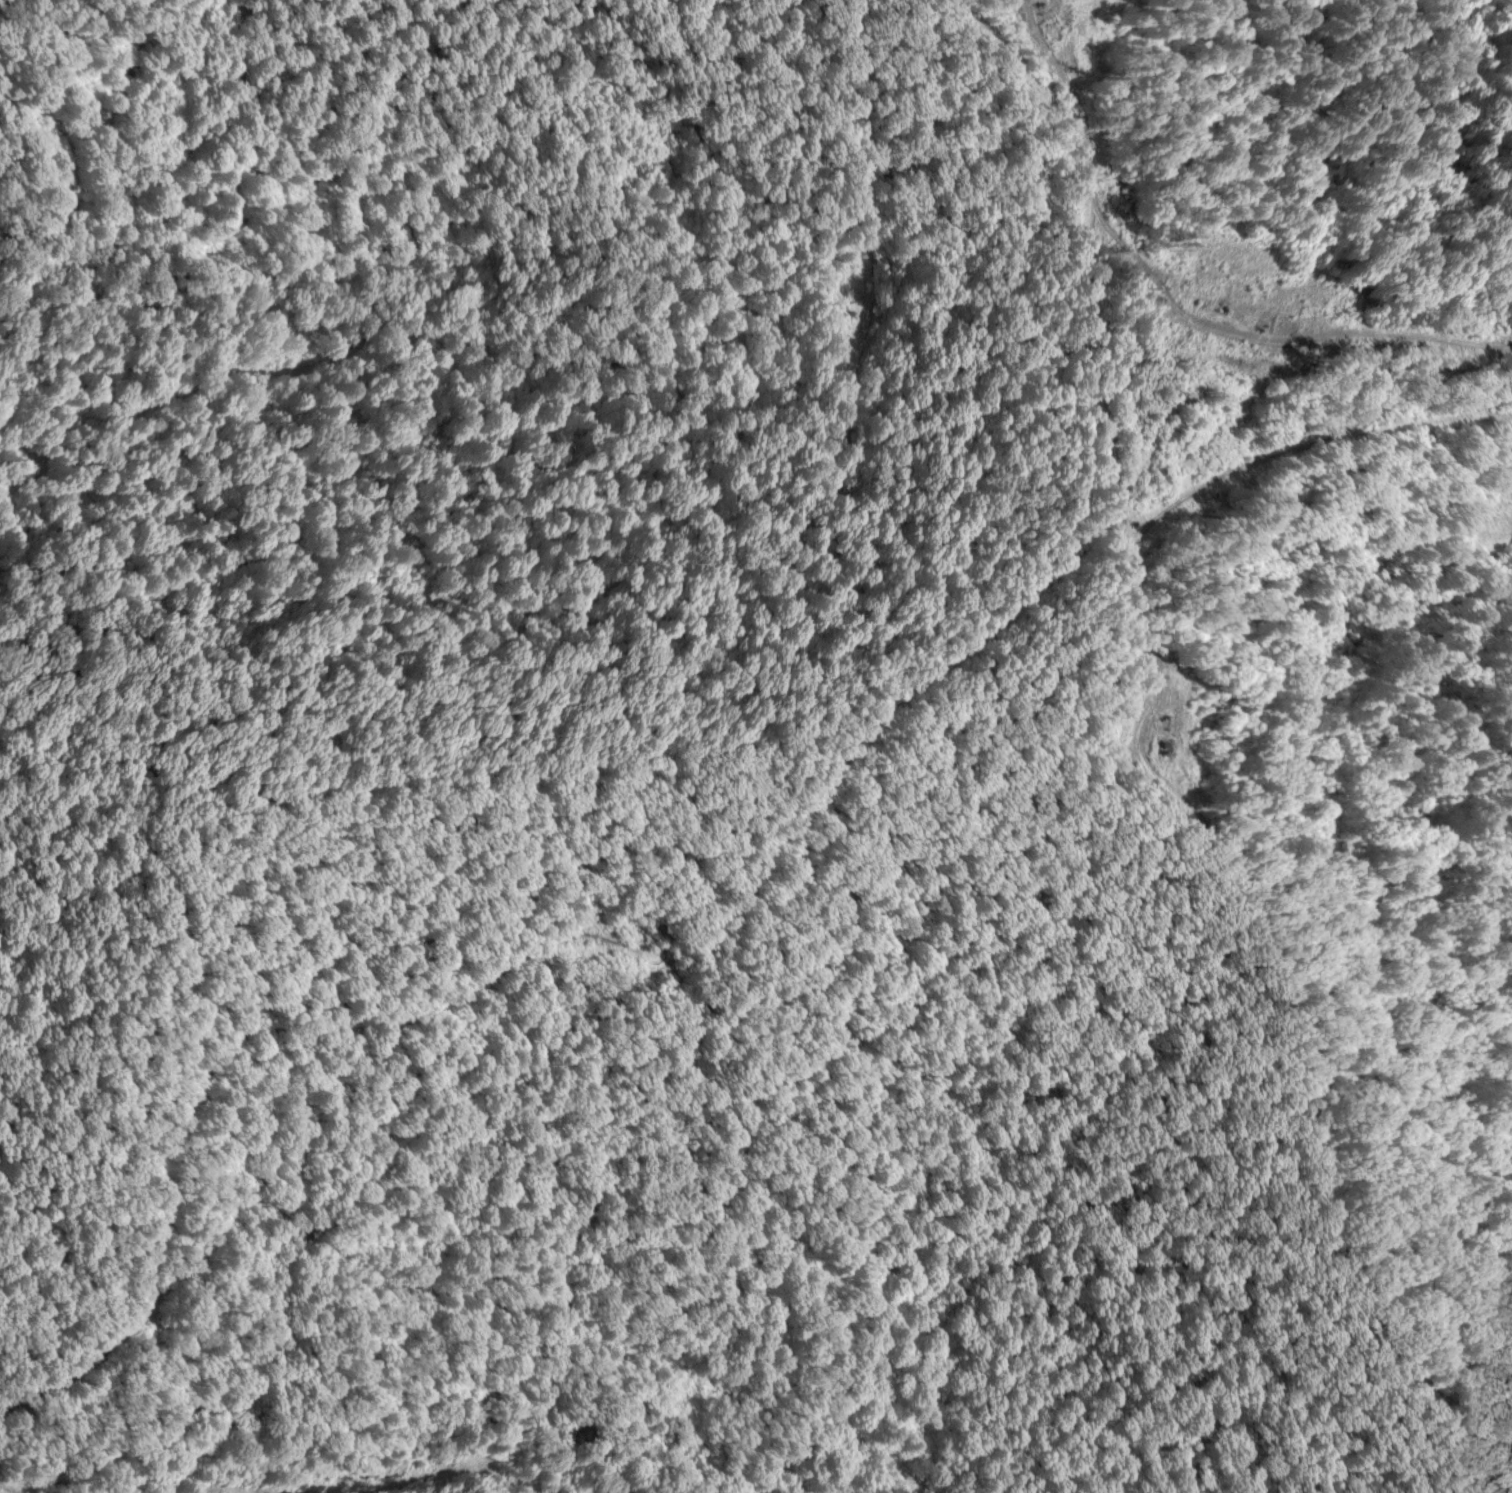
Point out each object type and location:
road: (453, 1443)

